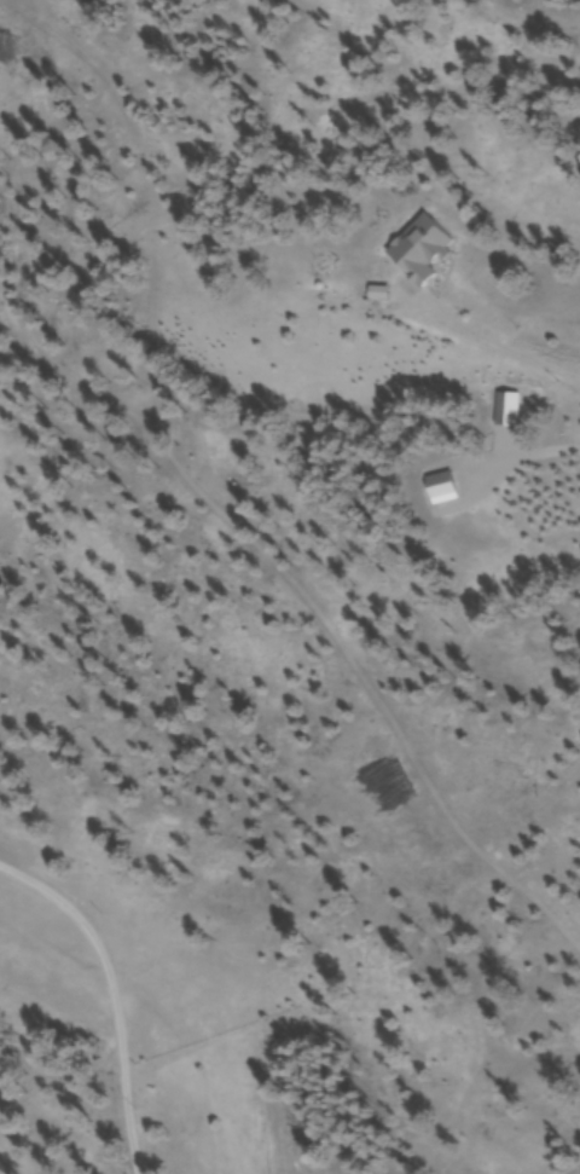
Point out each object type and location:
building: (424, 253)

